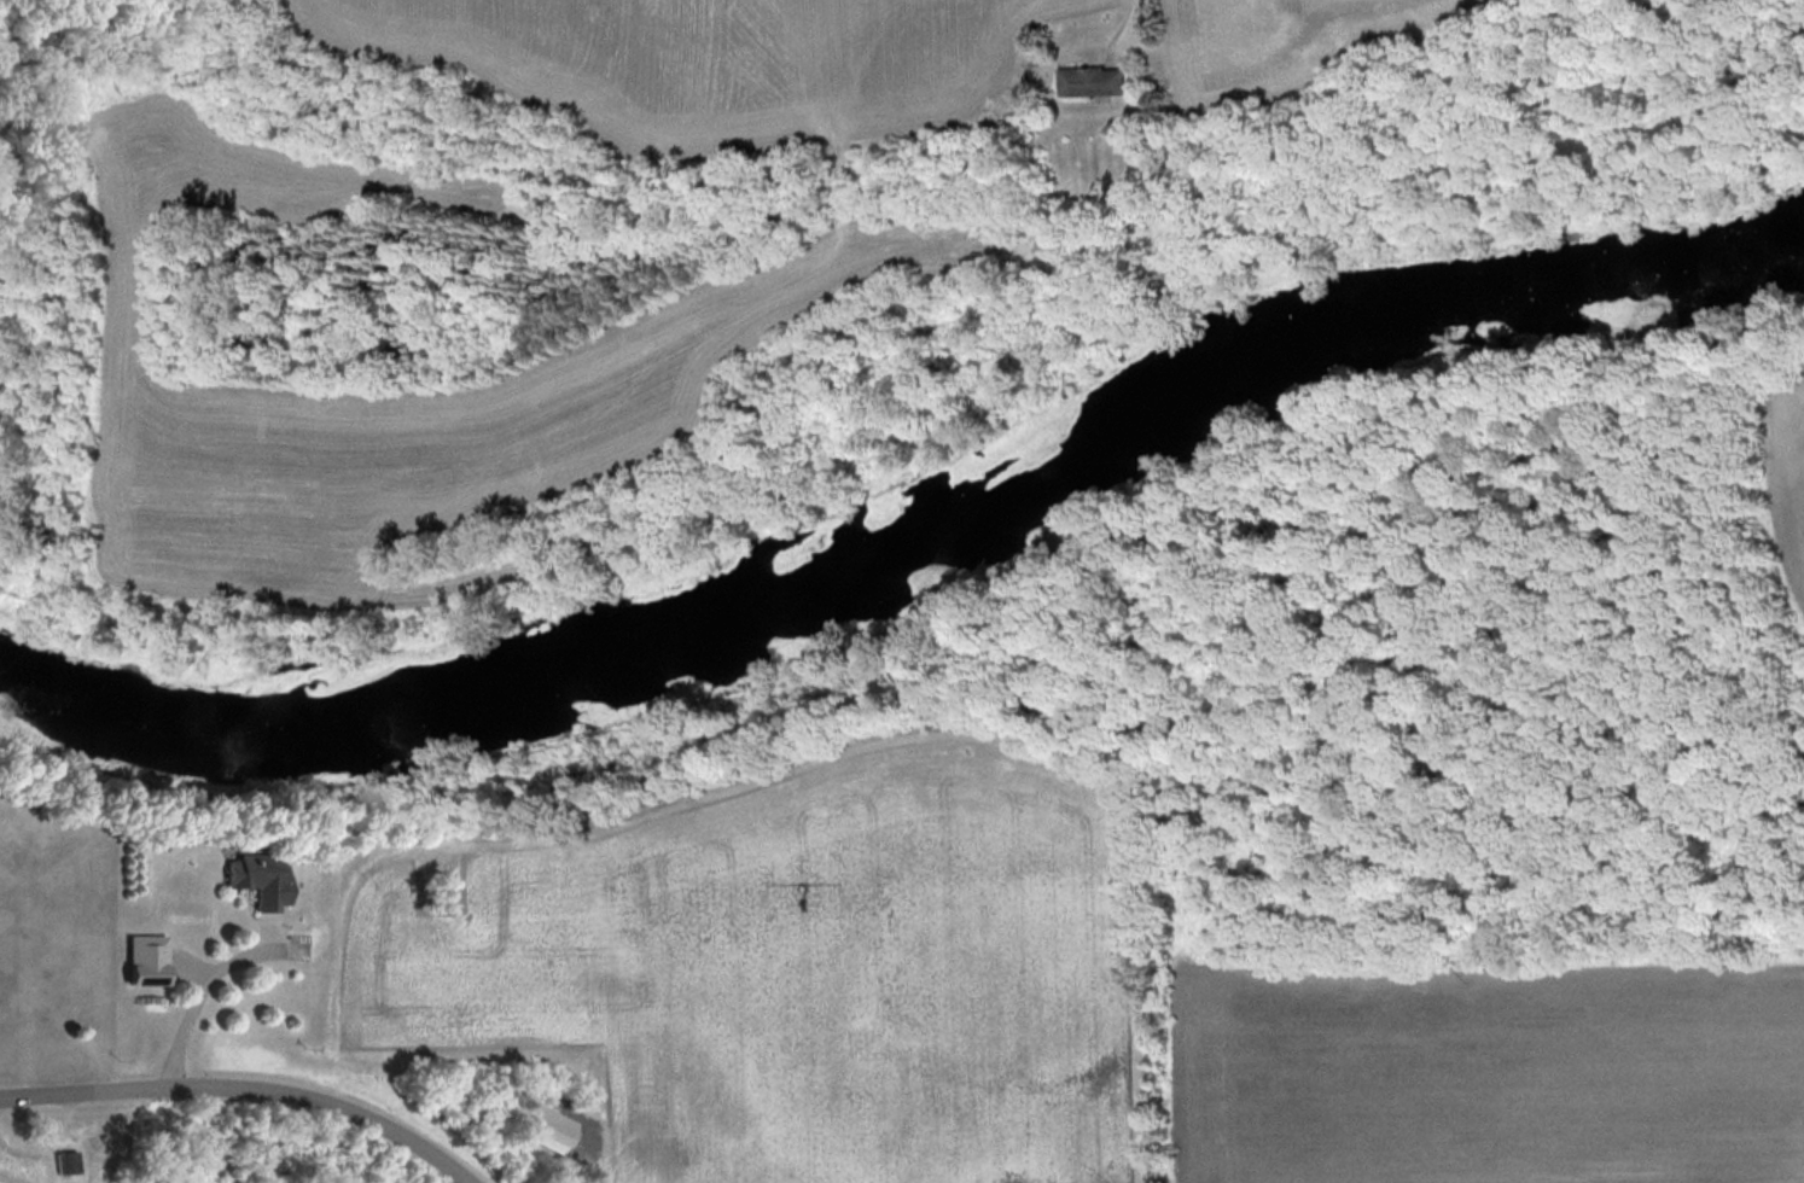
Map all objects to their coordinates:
building: (1095, 80)
road: (1150, 157)
river: (913, 537)
building: (264, 875)
road: (193, 998)
road: (243, 1095)
building: (4, 1154)
building: (70, 1161)

